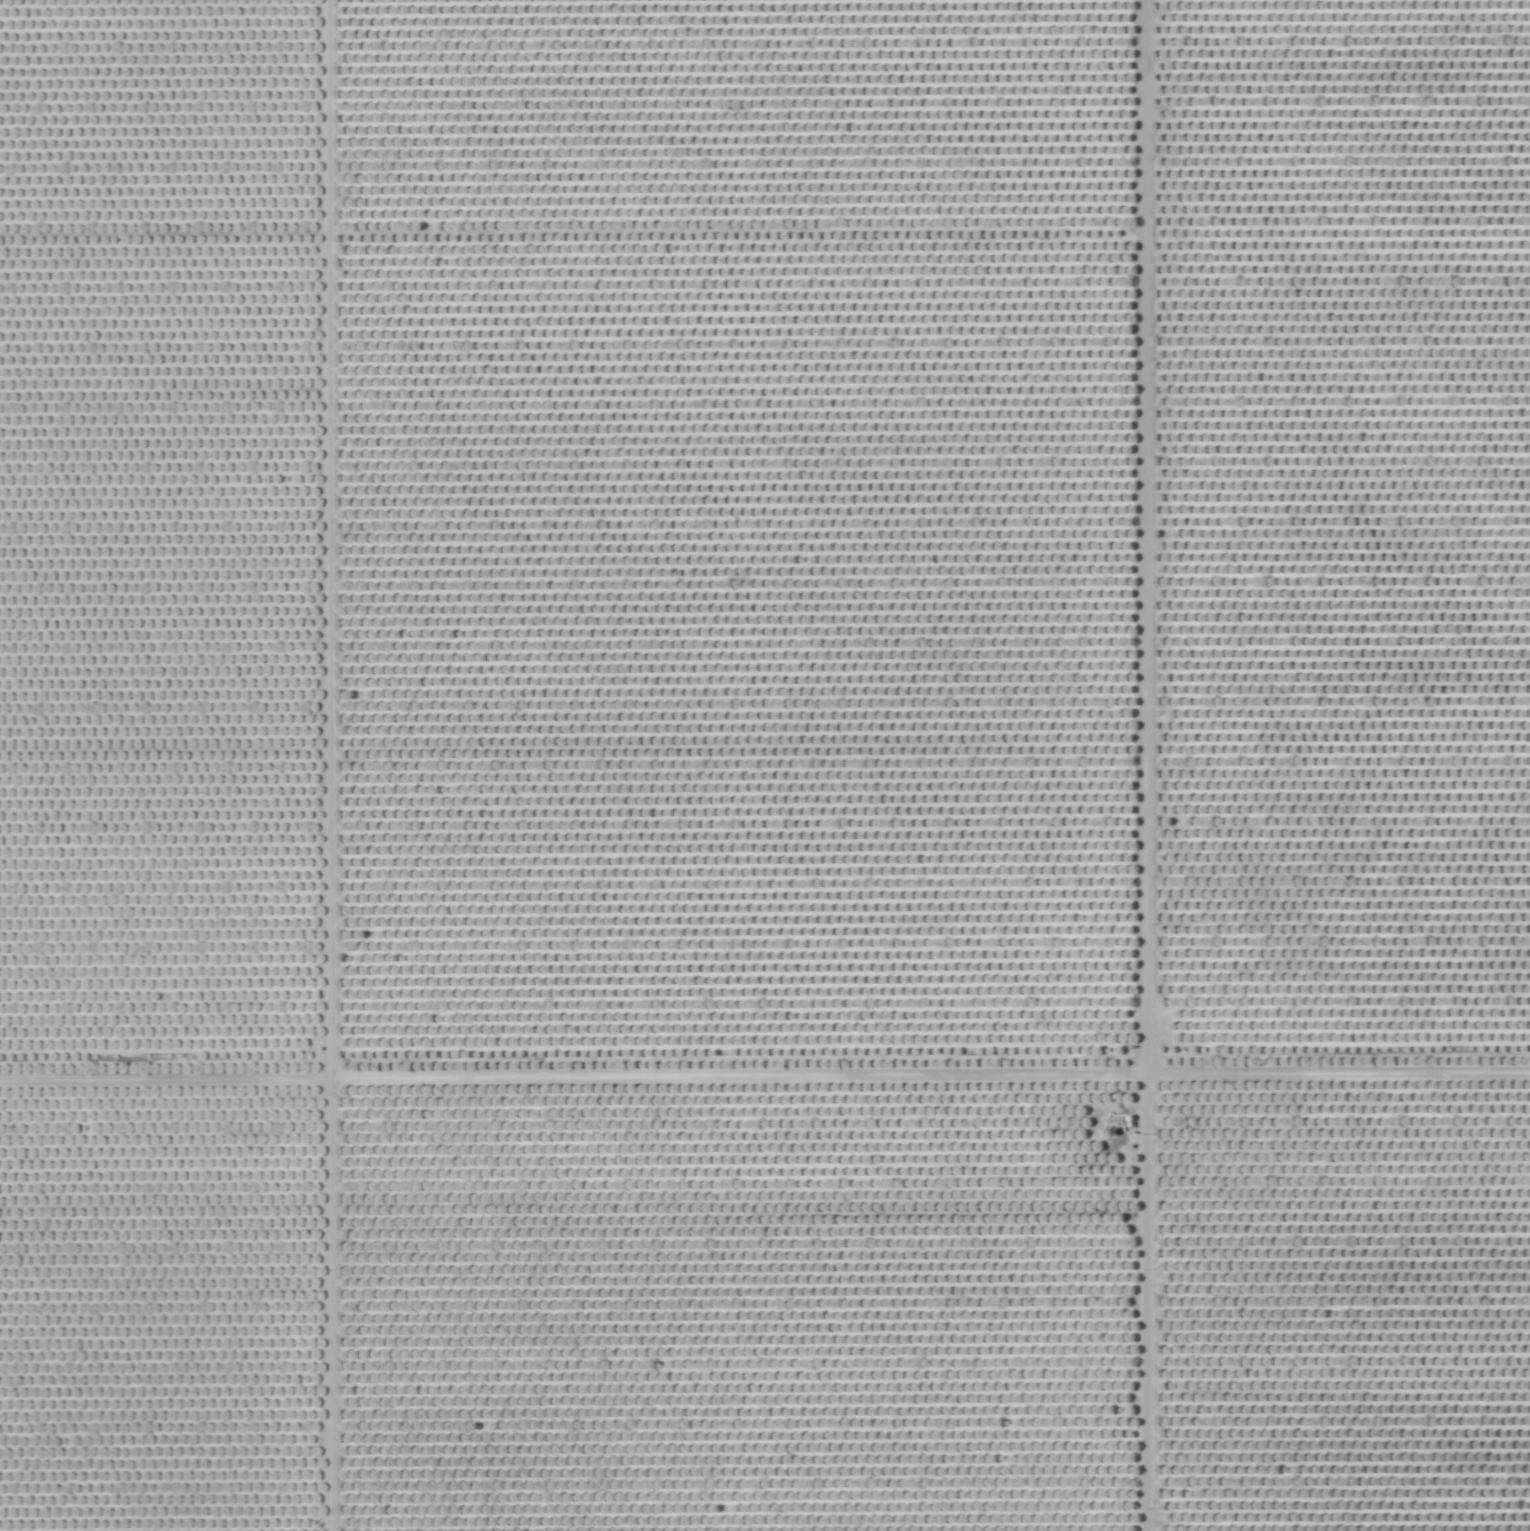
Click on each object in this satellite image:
crop: (765, 765)

